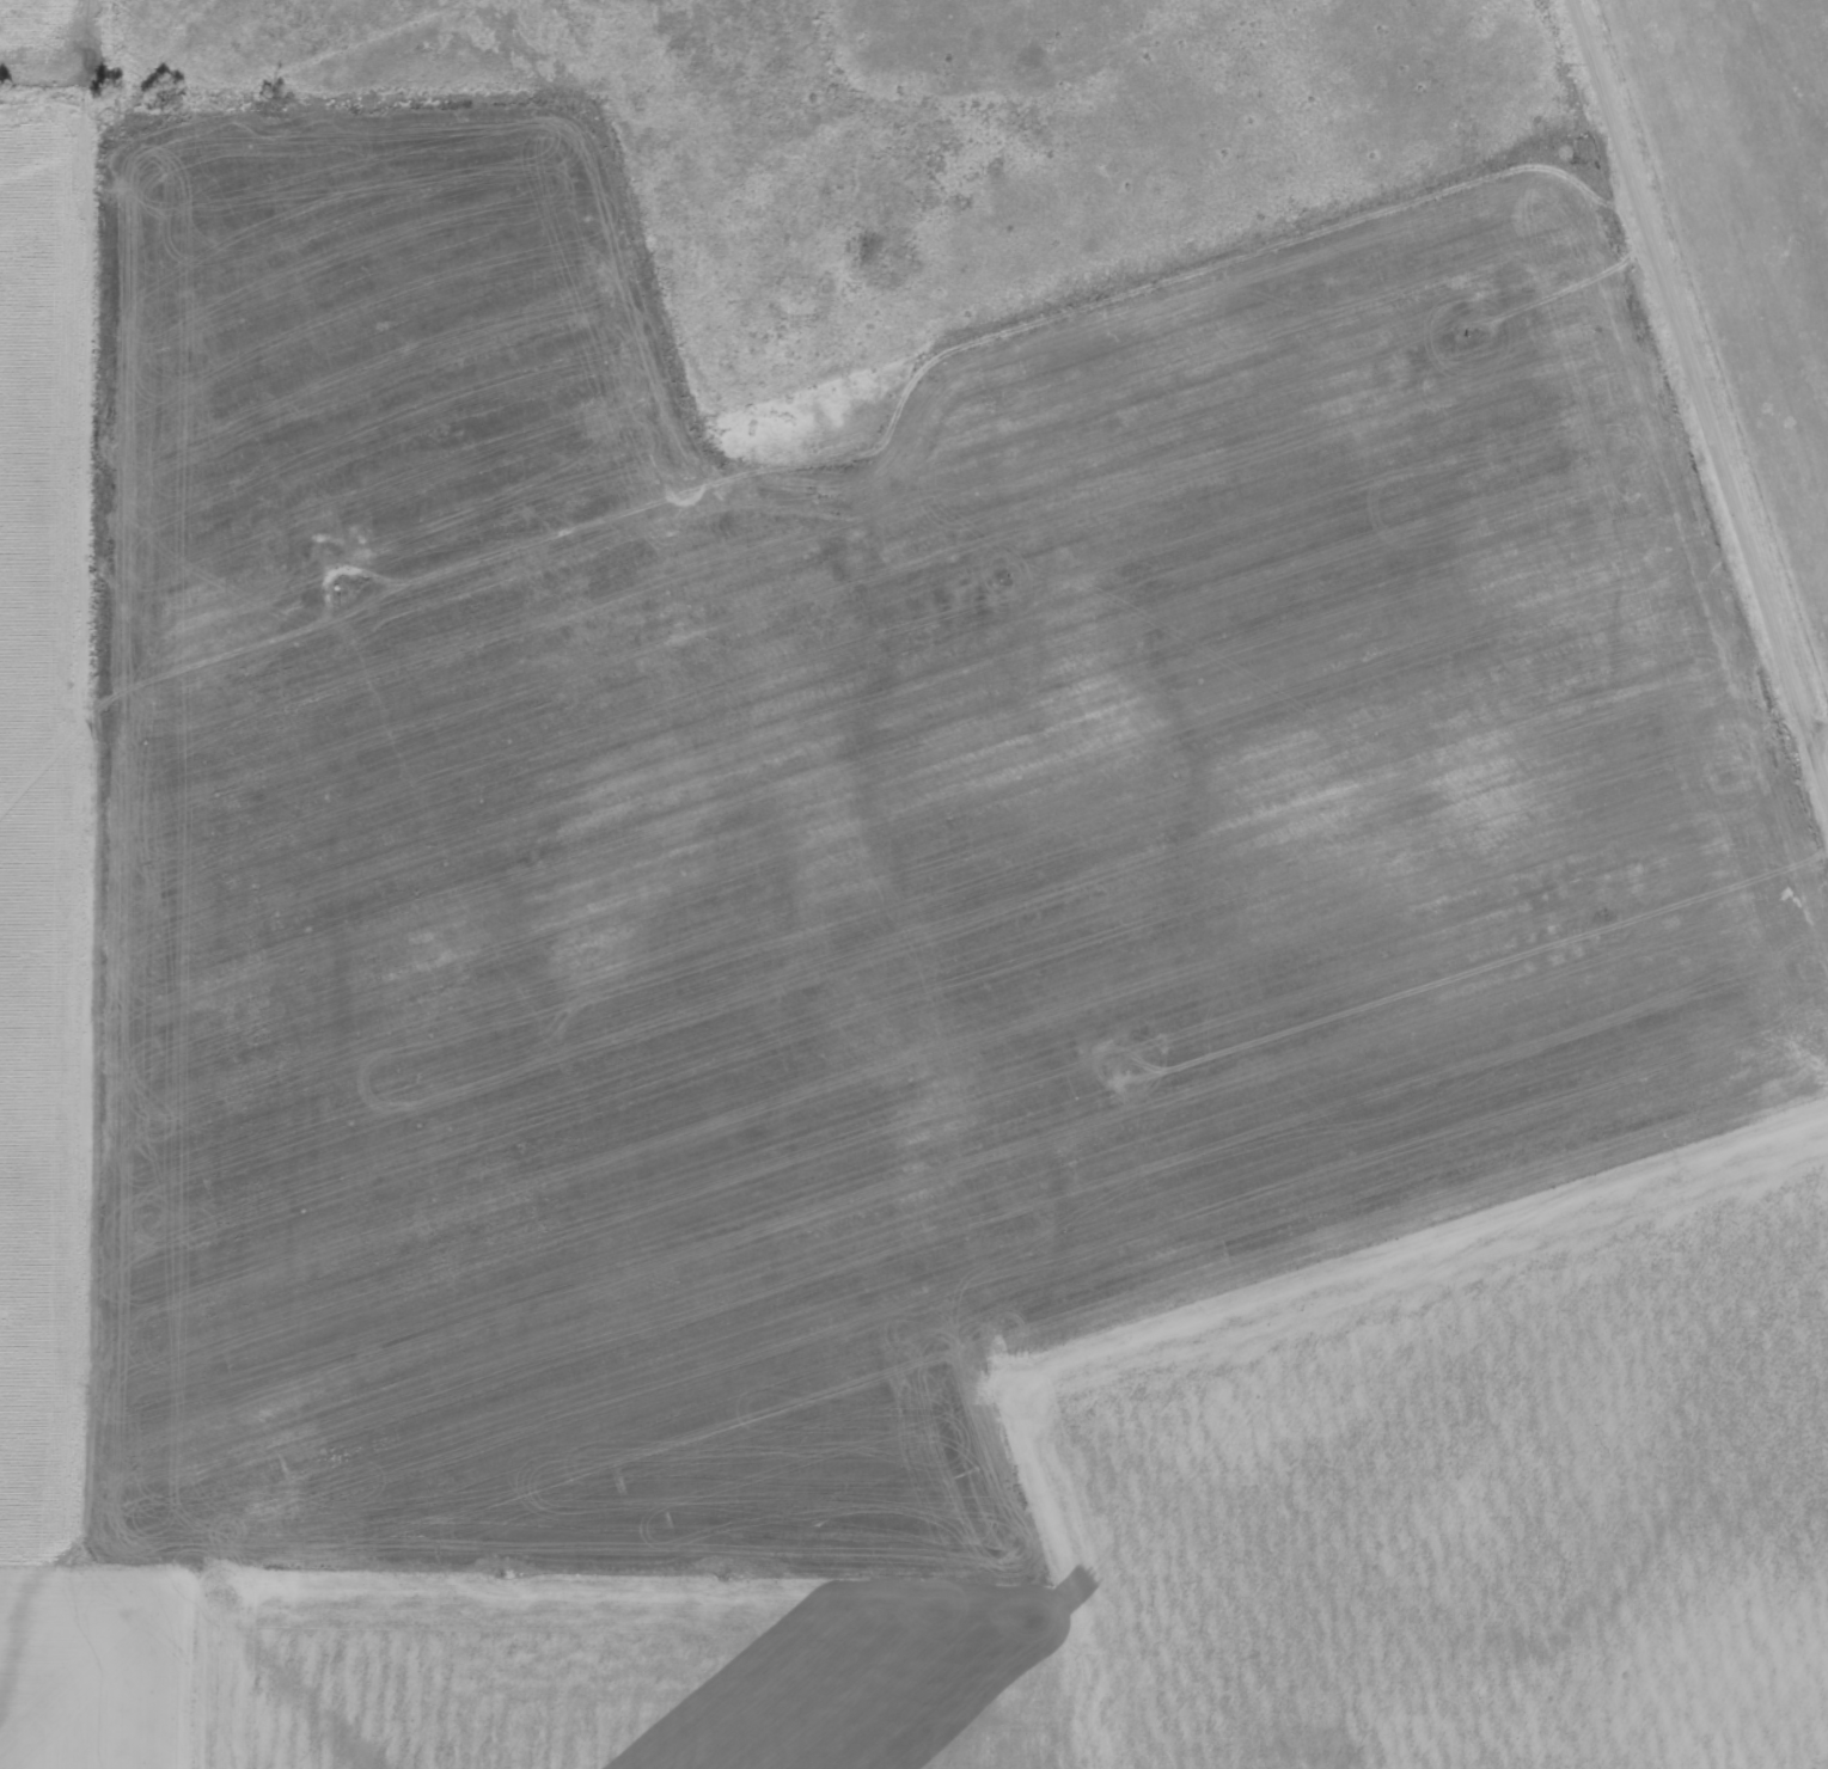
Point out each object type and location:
road: (1702, 390)
road: (1820, 724)

